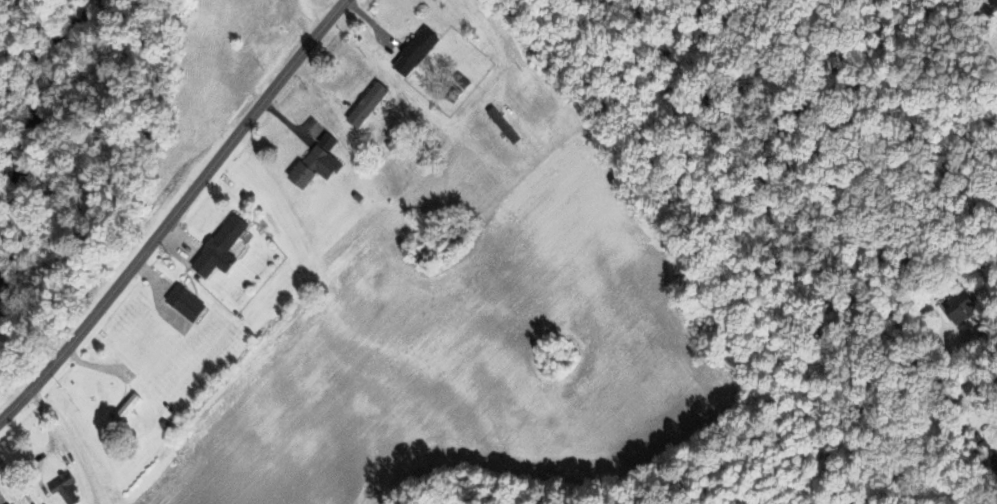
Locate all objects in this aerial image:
road: (313, 17)
building: (417, 52)
building: (369, 105)
building: (504, 126)
building: (318, 163)
road: (175, 212)
building: (222, 246)
building: (187, 302)
building: (962, 305)
road: (987, 346)
building: (123, 413)
building: (66, 487)
building: (10, 503)

